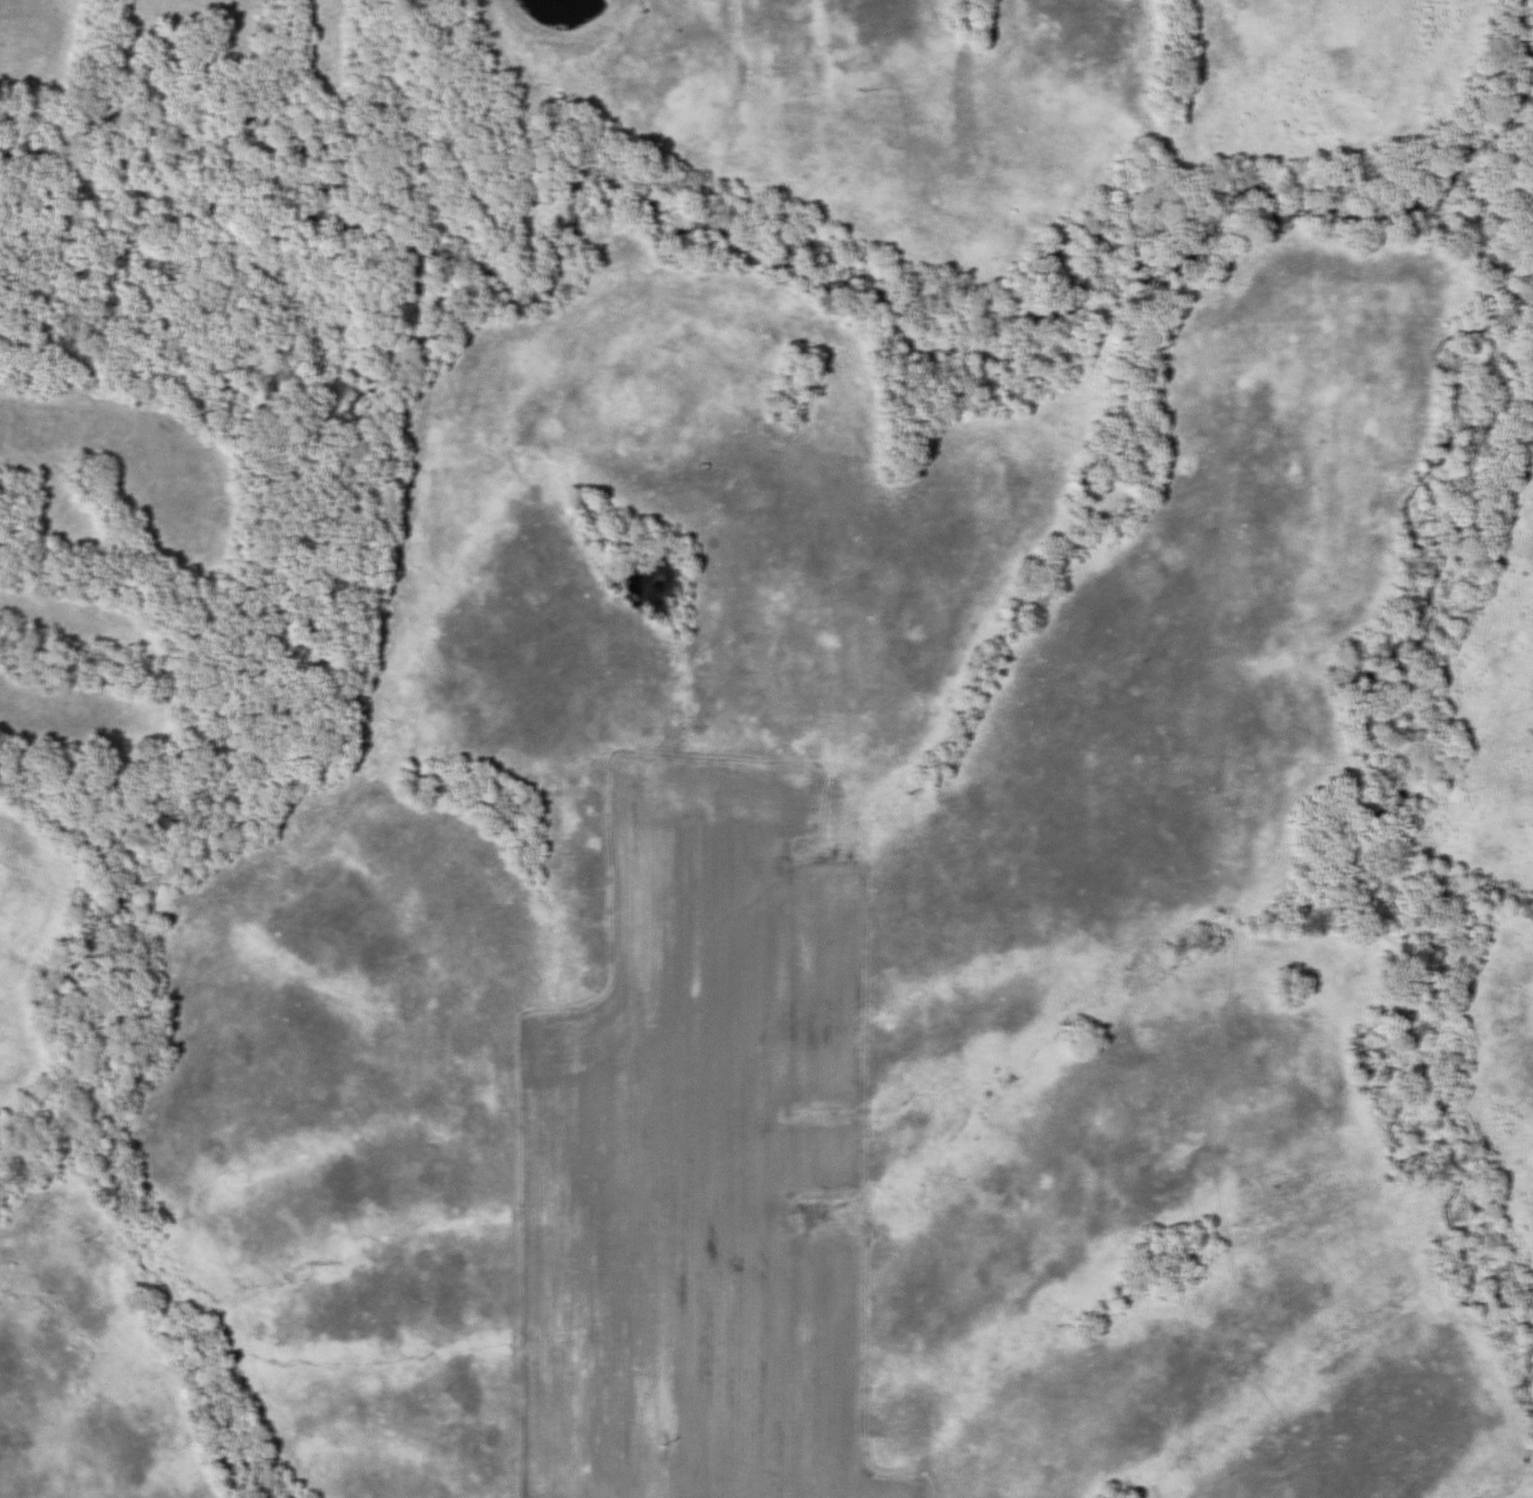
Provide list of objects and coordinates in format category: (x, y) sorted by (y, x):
crop: (721, 1144)

